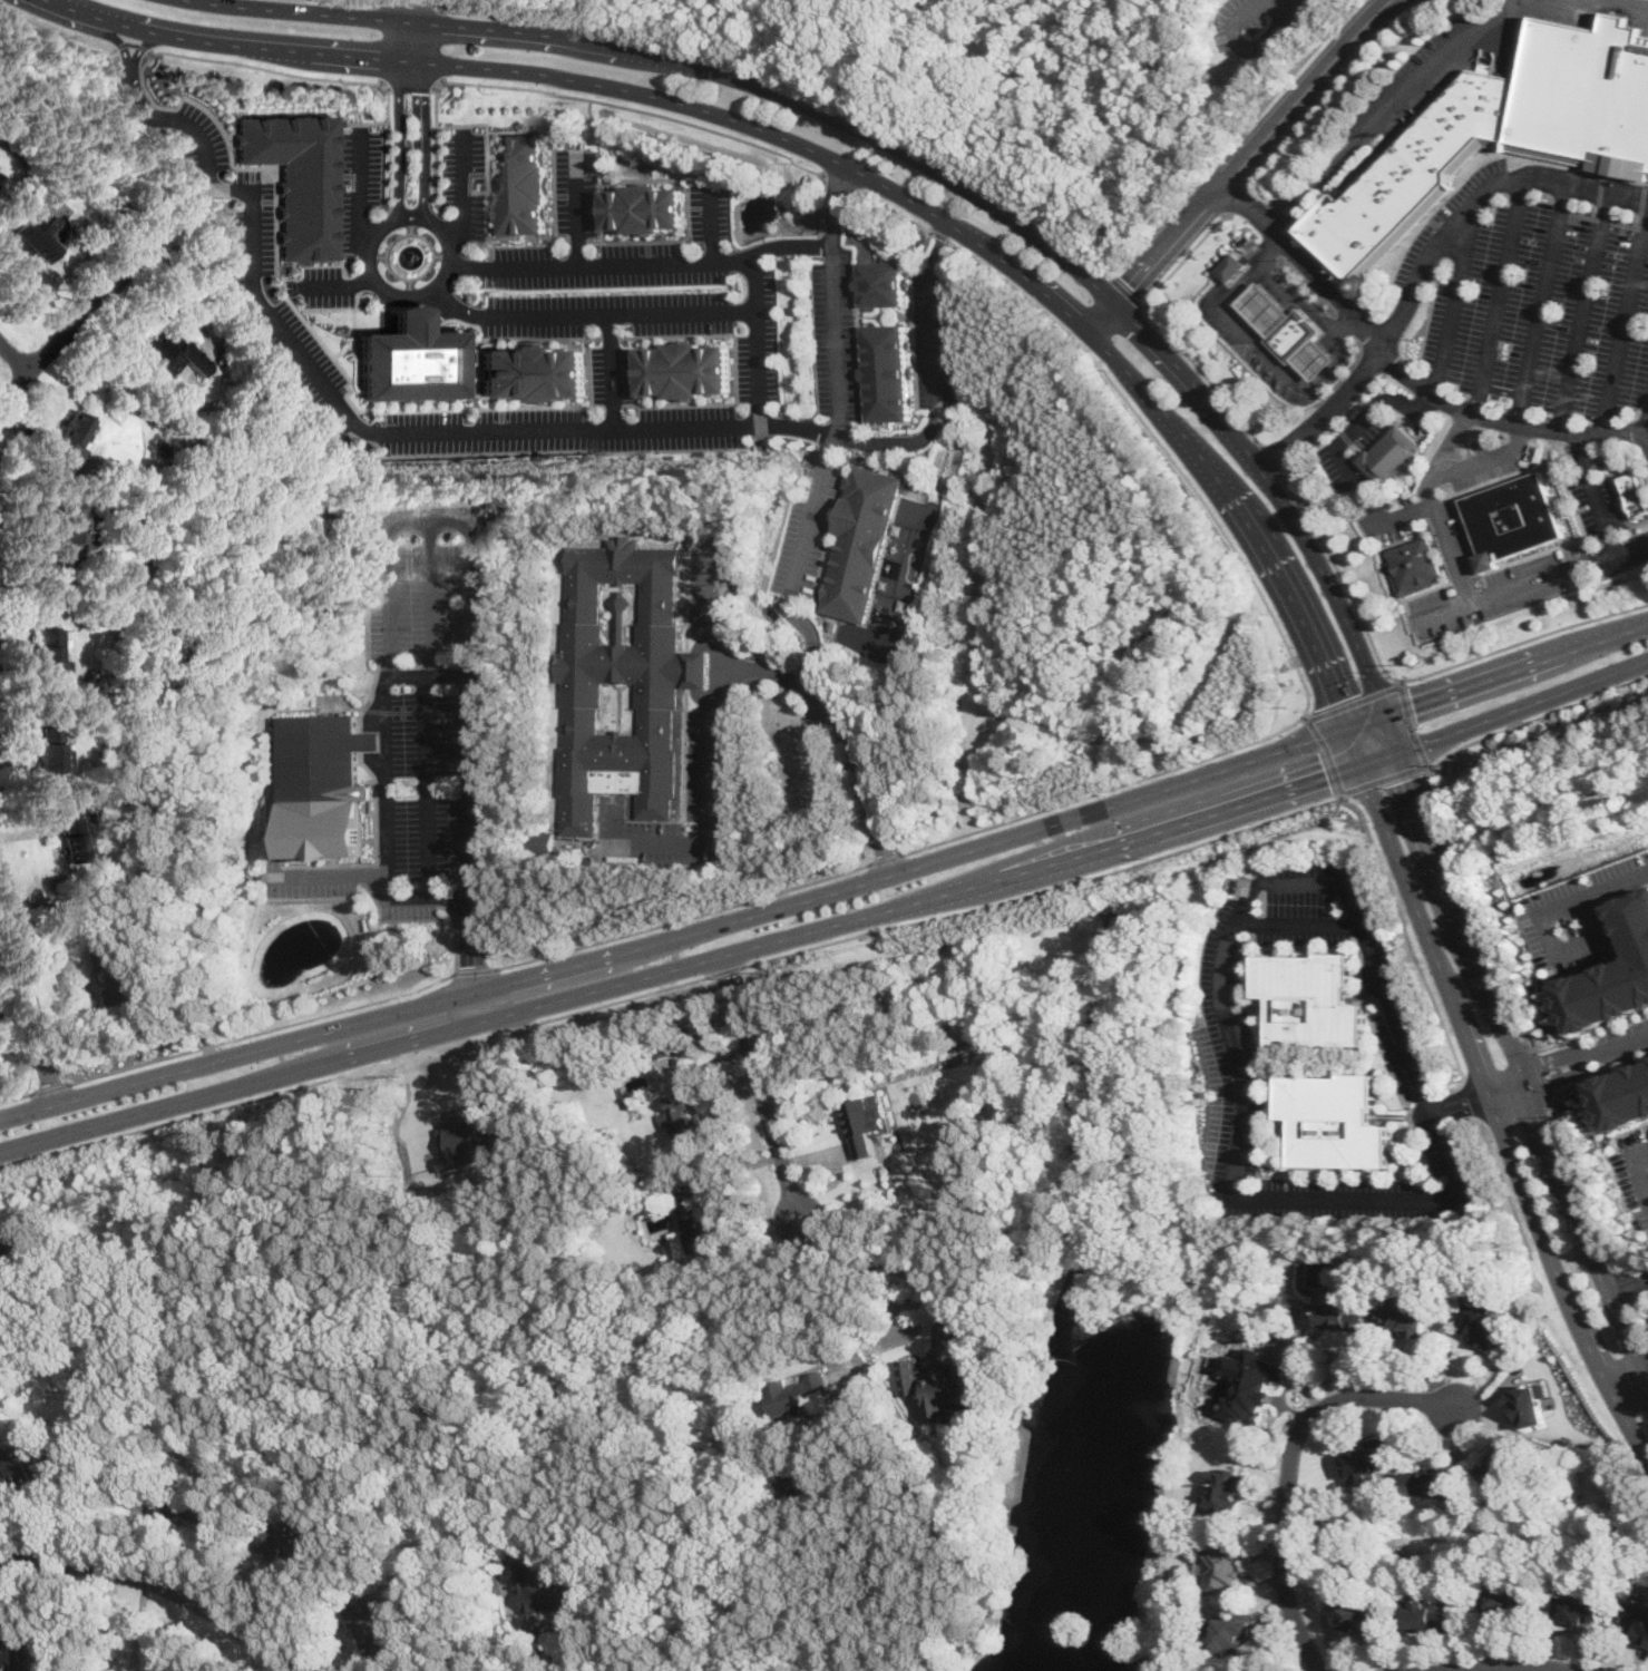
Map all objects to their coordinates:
road: (349, 2)
road: (1301, 3)
road: (1622, 6)
road: (409, 8)
road: (57, 31)
road: (1237, 41)
road: (128, 43)
road: (283, 74)
road: (131, 79)
road: (412, 81)
road: (800, 85)
road: (1336, 87)
park: (1062, 89)
building: (1583, 90)
road: (613, 102)
road: (1393, 110)
road: (1235, 139)
road: (826, 155)
road: (915, 157)
road: (1241, 163)
building: (1410, 170)
road: (840, 178)
building: (296, 179)
building: (520, 184)
road: (460, 188)
road: (365, 192)
road: (1239, 194)
building: (644, 207)
road: (895, 208)
road: (577, 209)
road: (715, 223)
road: (940, 234)
building: (38, 236)
road: (829, 243)
road: (936, 245)
road: (1183, 257)
building: (1232, 265)
road: (1424, 268)
building: (882, 283)
road: (344, 285)
road: (1129, 290)
parking lot: (1535, 290)
road: (415, 295)
road: (1501, 295)
road: (755, 297)
road: (1455, 300)
road: (1543, 304)
building: (1267, 307)
road: (1586, 312)
road: (79, 320)
road: (1626, 325)
building: (1295, 333)
road: (1256, 341)
road: (933, 344)
road: (14, 358)
building: (173, 358)
building: (1316, 358)
building: (417, 362)
road: (759, 368)
building: (683, 369)
road: (1404, 370)
road: (607, 371)
building: (532, 372)
building: (885, 372)
road: (1203, 372)
road: (353, 416)
road: (833, 424)
road: (1336, 424)
building: (70, 436)
road: (845, 436)
road: (1167, 449)
road: (1340, 453)
road: (1269, 456)
building: (1389, 456)
road: (1486, 459)
parking lot: (1342, 480)
road: (1596, 494)
building: (1635, 495)
road: (1433, 505)
parking lot: (1454, 518)
building: (1512, 518)
road: (431, 519)
parking lot: (1607, 526)
building: (68, 536)
building: (860, 543)
building: (240, 555)
building: (1415, 564)
road: (1530, 582)
park: (1077, 595)
parking lot: (1437, 615)
building: (50, 649)
road: (426, 675)
building: (620, 678)
road: (802, 678)
road: (1408, 678)
traffic signals: (1342, 698)
road: (1355, 700)
road: (425, 706)
traffic signals: (1415, 709)
road: (1537, 717)
road: (1411, 722)
road: (708, 736)
road: (368, 739)
building: (52, 750)
road: (1329, 753)
road: (859, 769)
traffic signals: (1327, 775)
road: (1385, 776)
traffic signals: (1412, 778)
building: (321, 783)
road: (1105, 789)
road: (198, 822)
building: (72, 841)
road: (882, 858)
road: (1044, 889)
road: (829, 890)
road: (1582, 896)
road: (1475, 909)
road: (680, 916)
road: (830, 924)
road: (1295, 924)
road: (1413, 954)
road: (471, 958)
road: (724, 969)
road: (471, 970)
building: (1613, 975)
building: (119, 976)
road: (28, 995)
building: (1311, 999)
road: (1230, 1022)
road: (260, 1030)
road: (1512, 1042)
road: (1587, 1055)
road: (354, 1071)
road: (1540, 1072)
road: (762, 1087)
road: (50, 1088)
road: (1488, 1092)
building: (1622, 1095)
road: (17, 1096)
road: (1478, 1097)
building: (680, 1116)
building: (1334, 1120)
building: (865, 1122)
building: (467, 1140)
road: (1647, 1149)
road: (1578, 1181)
building: (691, 1231)
building: (7, 1254)
road: (890, 1255)
road: (1628, 1280)
road: (1619, 1284)
road: (825, 1289)
building: (1404, 1312)
building: (1344, 1315)
building: (1479, 1321)
road: (1637, 1323)
building: (1252, 1381)
building: (937, 1384)
building: (797, 1393)
building: (1527, 1406)
building: (1366, 1460)
building: (19, 1464)
road: (1289, 1465)
building: (1503, 1469)
building: (1437, 1482)
building: (1225, 1489)
building: (196, 1505)
building: (282, 1543)
building: (1221, 1566)
road: (156, 1582)
building: (544, 1590)
building: (1511, 1602)
building: (1580, 1609)
building: (1430, 1614)
building: (1358, 1616)
building: (1637, 1619)
building: (368, 1622)
building: (1237, 1632)
road: (524, 1644)
building: (13, 1652)
road: (1512, 1667)
building: (148, 1670)
building: (150, 1670)

